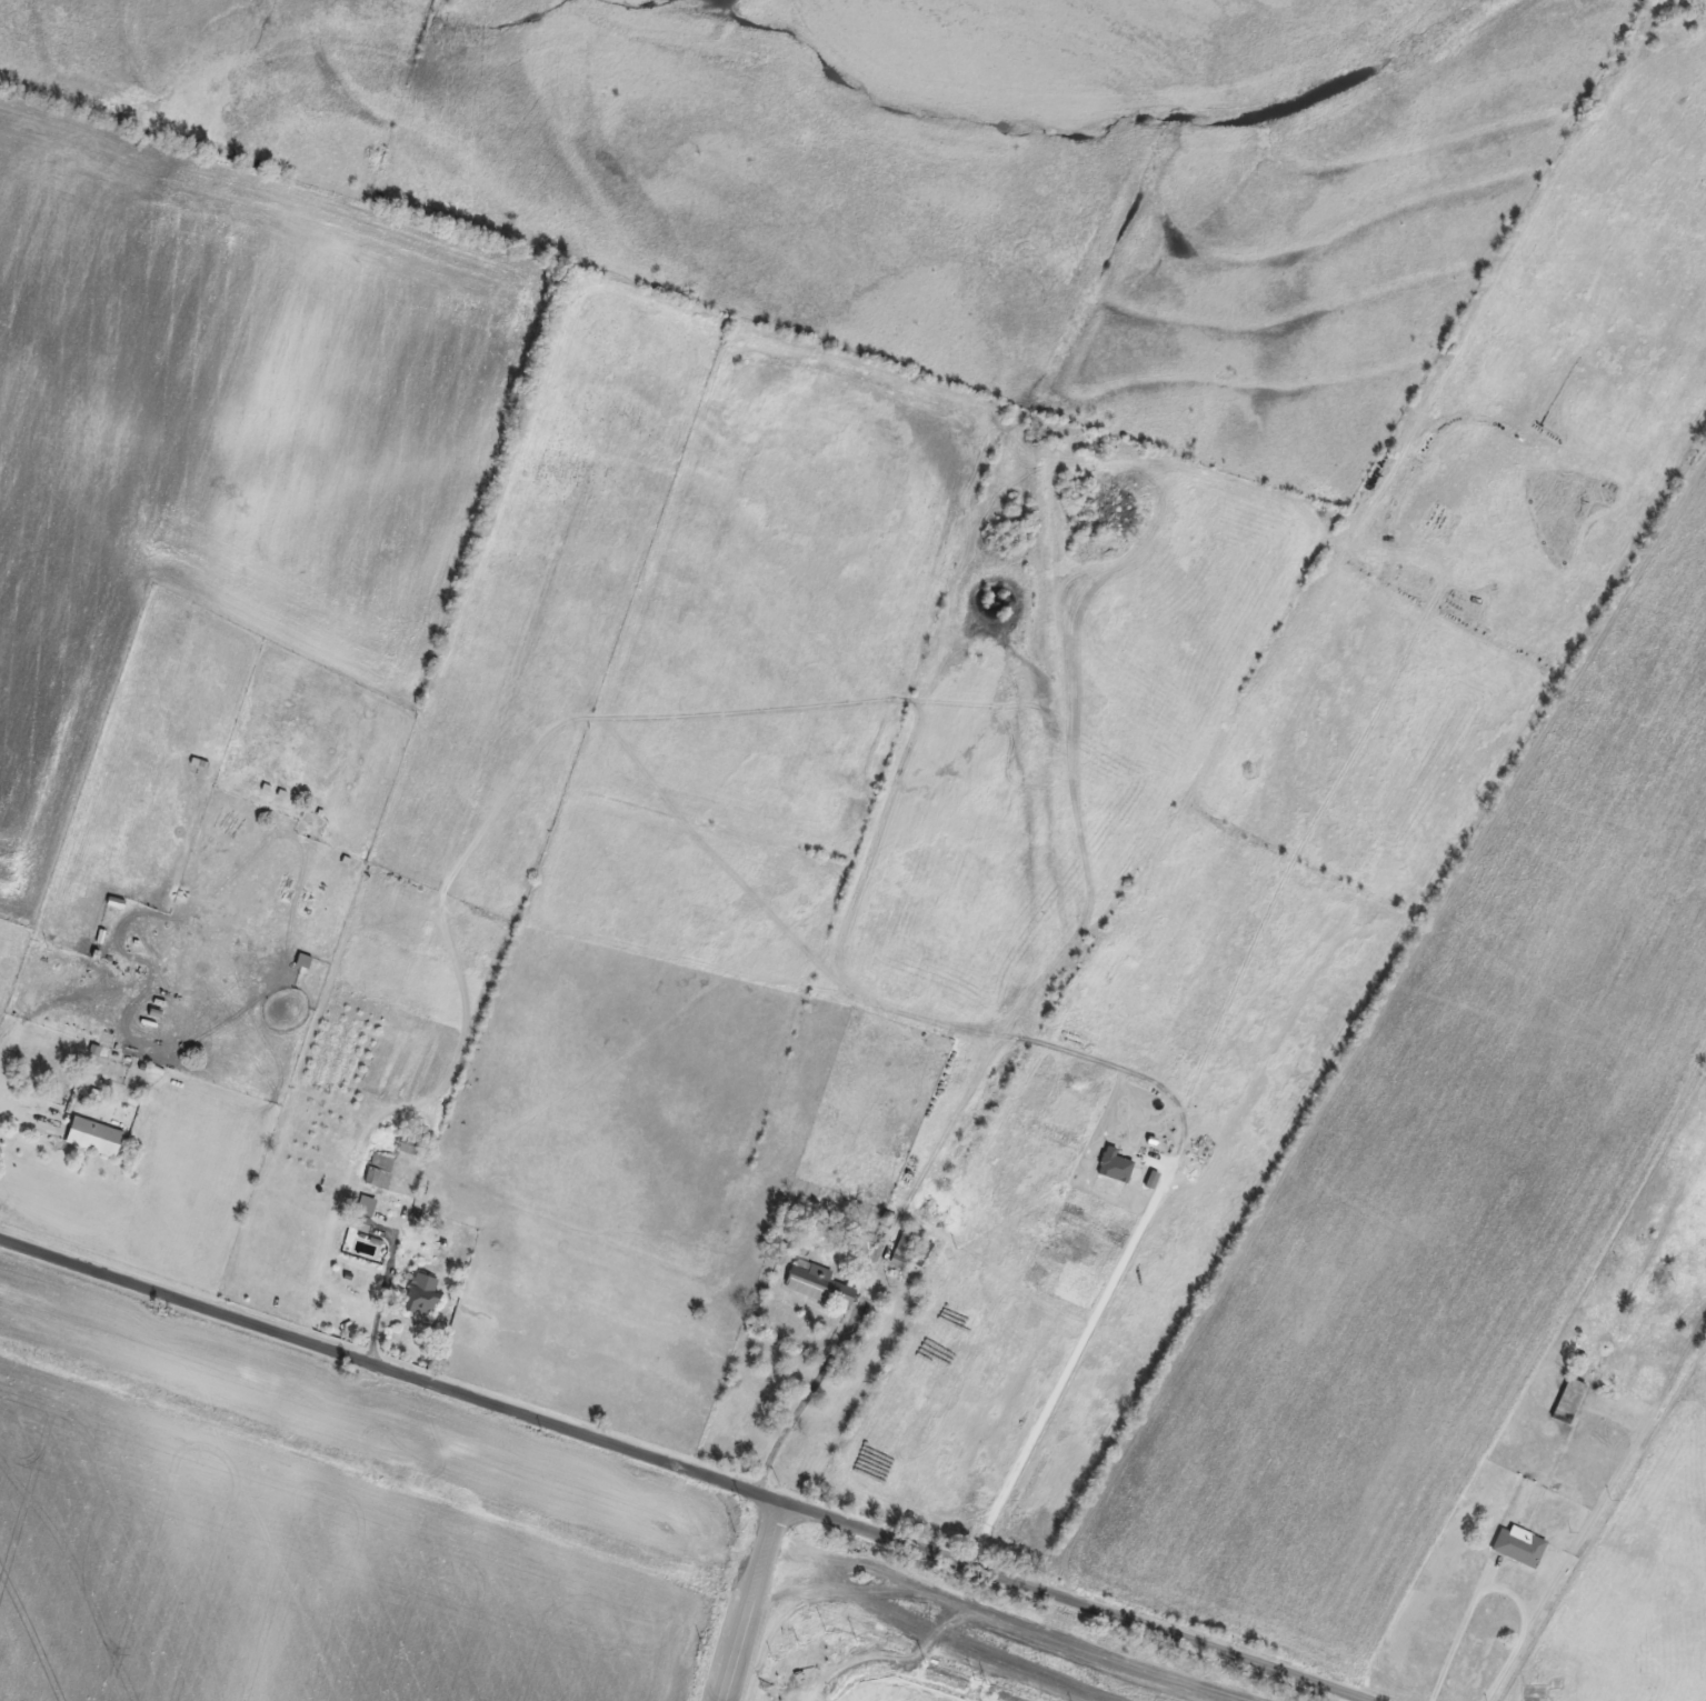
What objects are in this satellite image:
building: (303, 961)
building: (94, 1137)
building: (408, 1141)
building: (367, 1207)
building: (906, 1248)
building: (1662, 1282)
building: (820, 1284)
building: (421, 1294)
road: (1067, 1368)
road: (807, 1394)
building: (1568, 1401)
road: (691, 1478)
building: (1519, 1545)
road: (1496, 1587)
road: (747, 1601)

